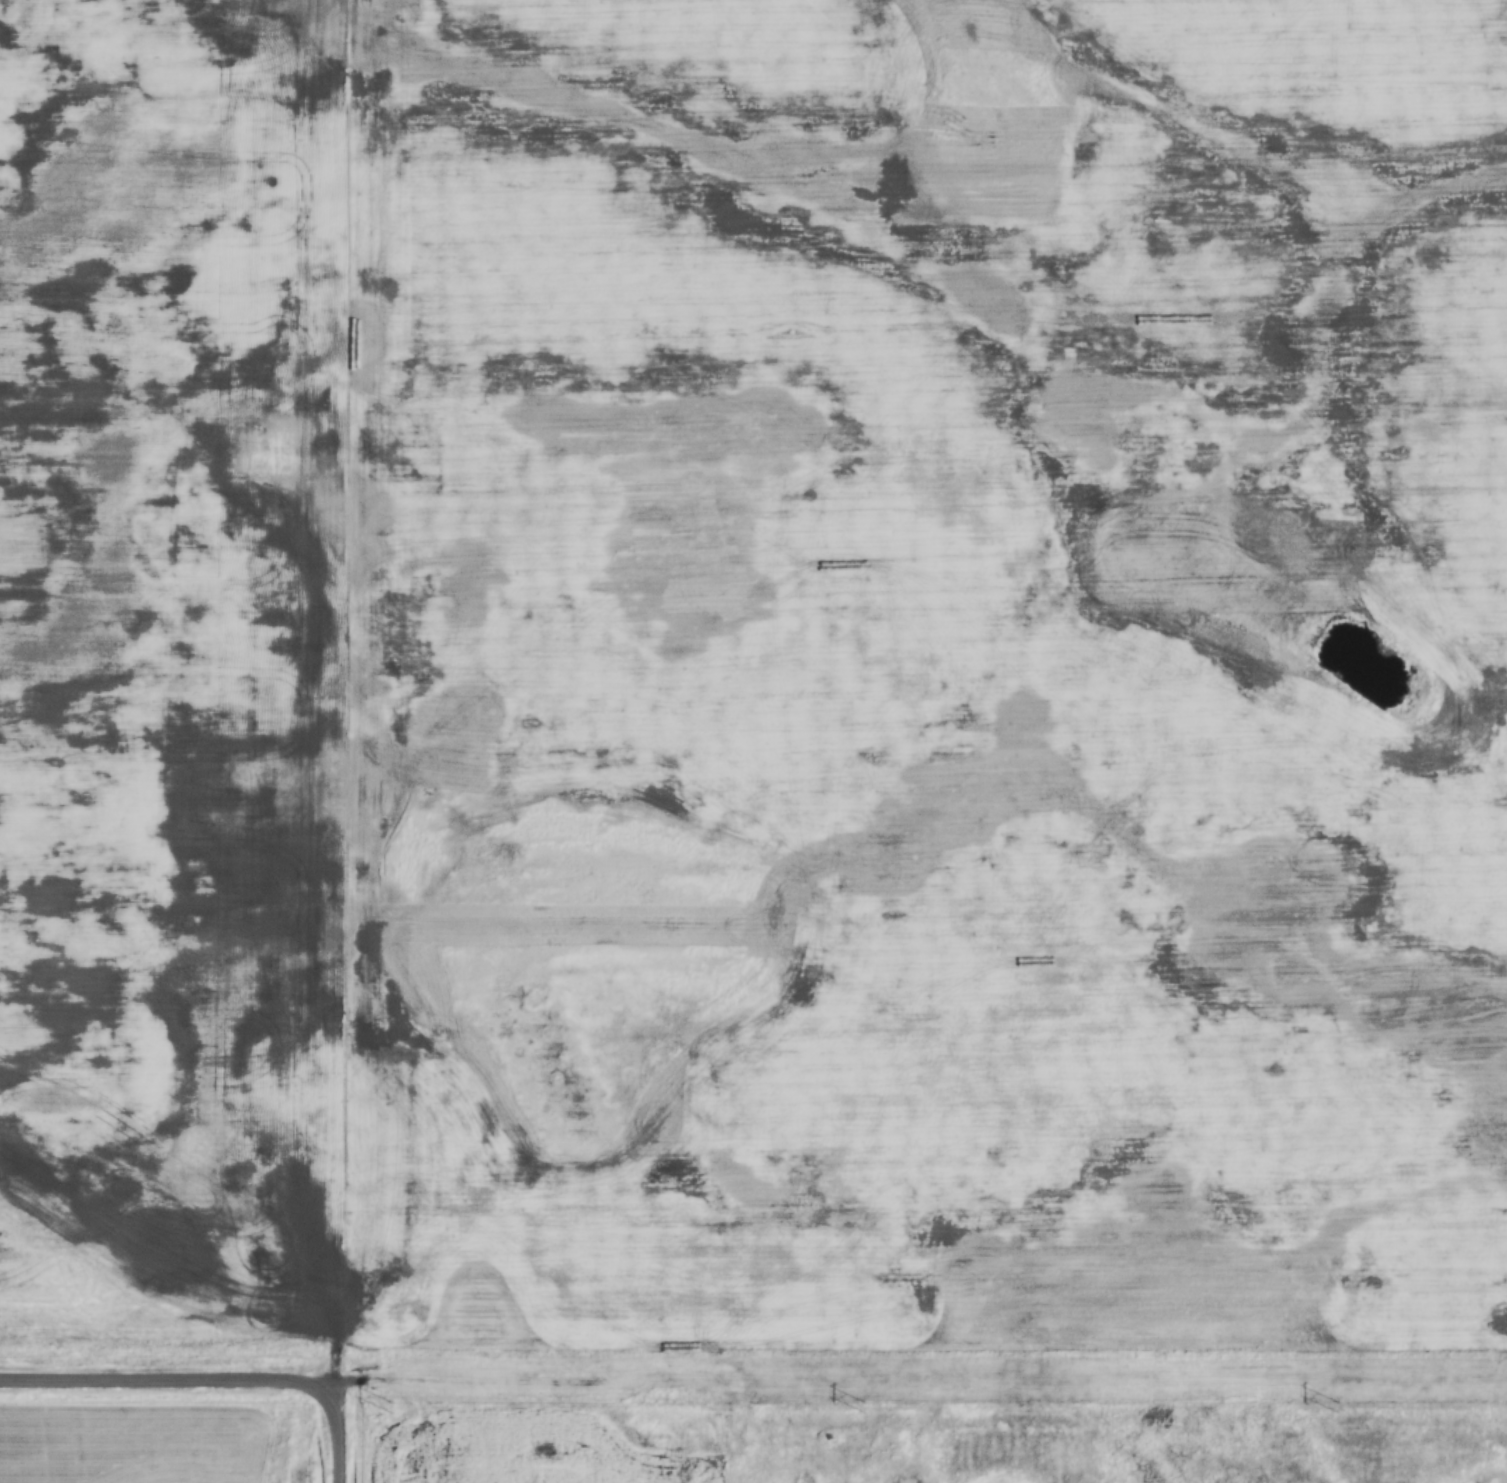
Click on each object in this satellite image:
road: (912, 1376)
road: (162, 1383)
power tower: (390, 1407)
power tower: (863, 1407)
power tower: (1336, 1407)
road: (336, 1438)

